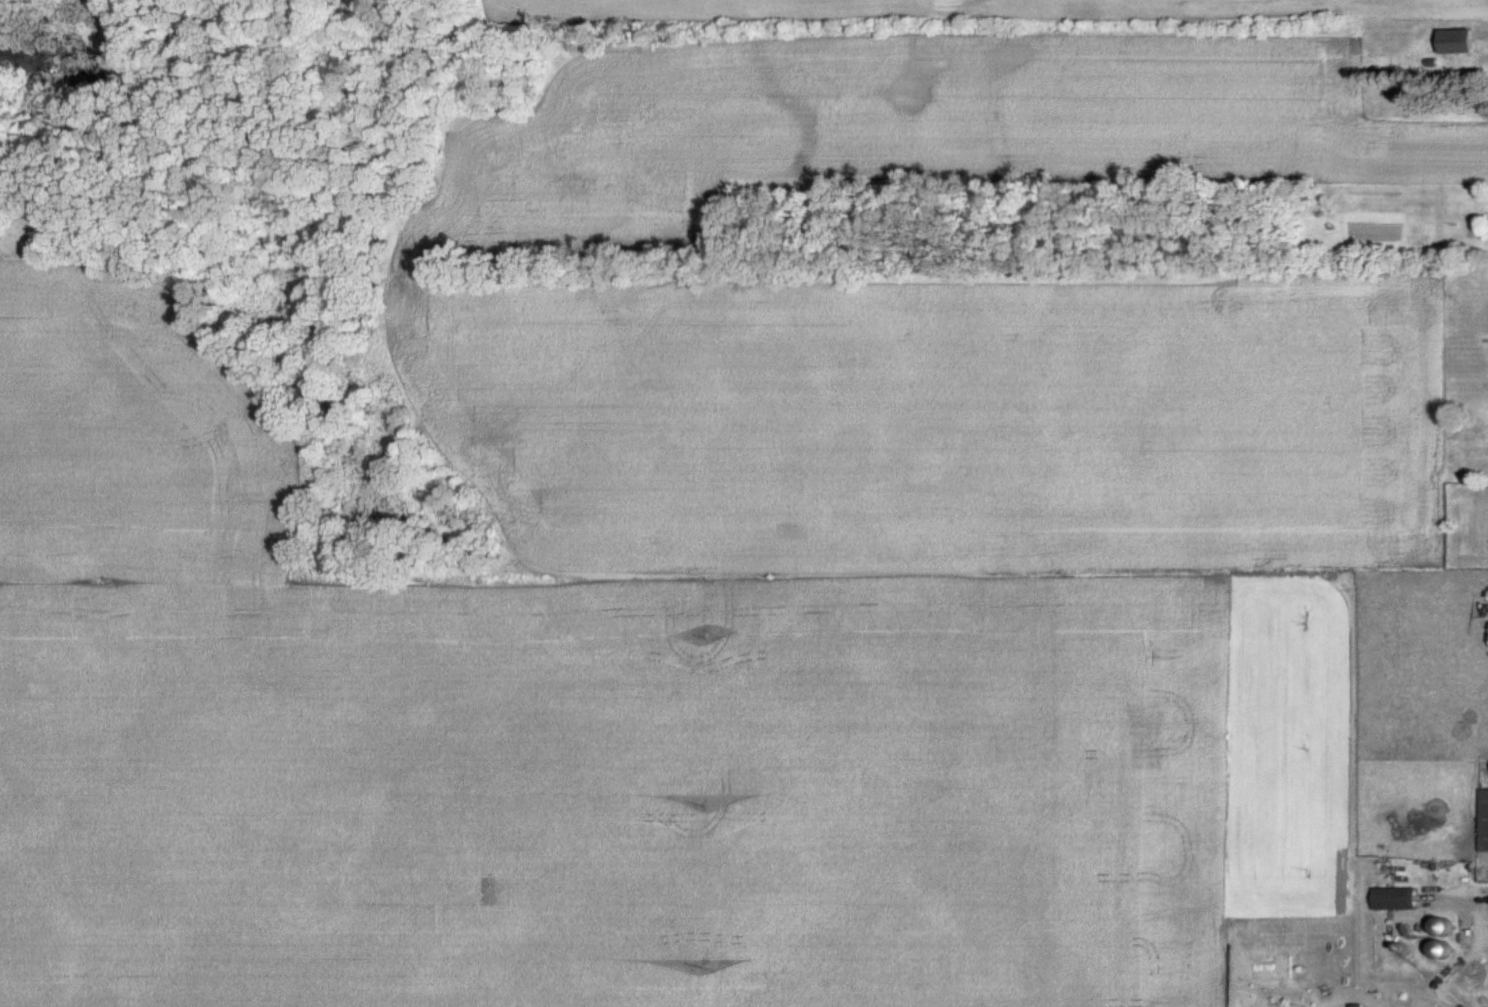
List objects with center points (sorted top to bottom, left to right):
building: (1454, 40)
building: (306, 496)
building: (1481, 819)
building: (1389, 896)
building: (1461, 926)
building: (1435, 949)
road: (1479, 965)

